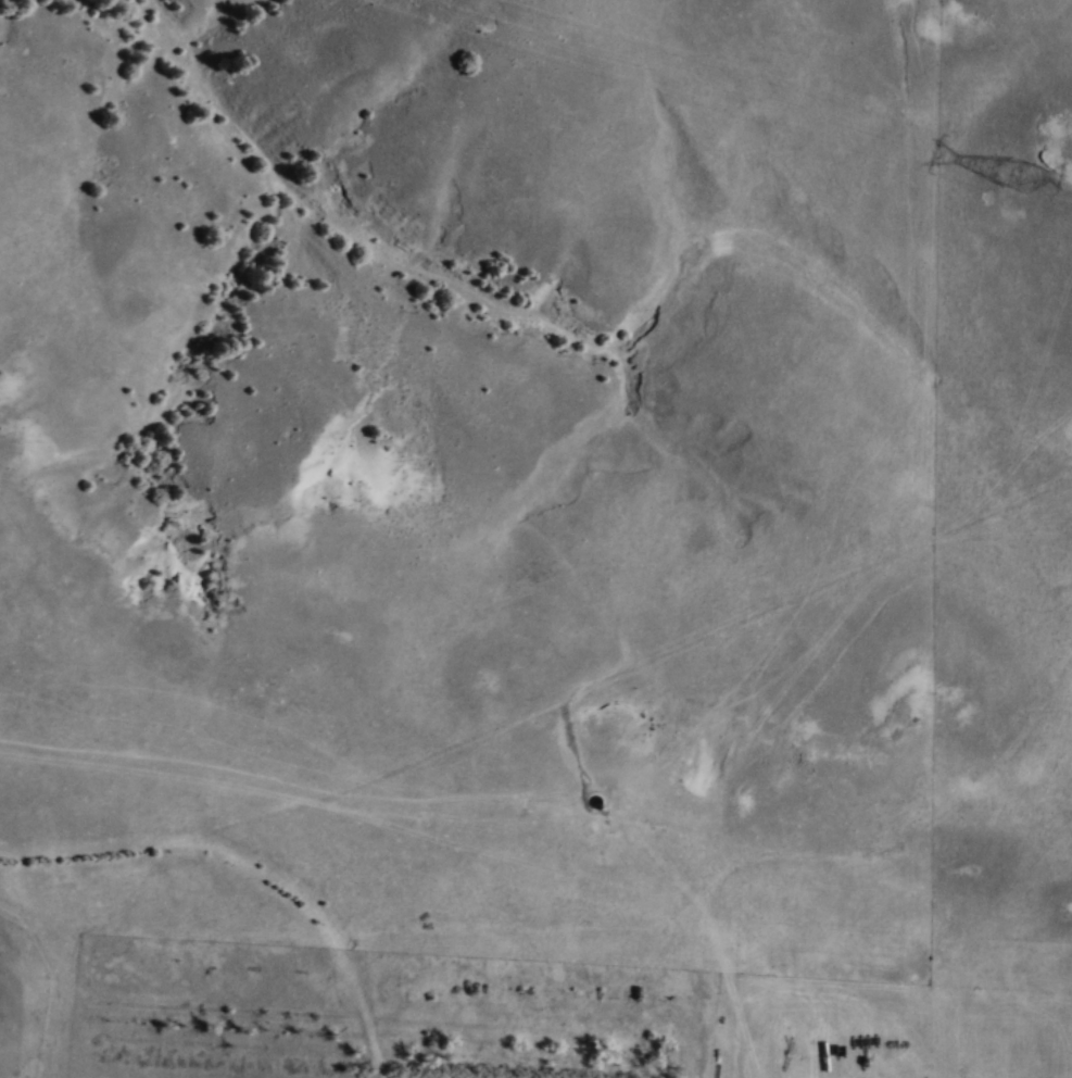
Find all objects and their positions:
power tower: (1027, 166)

